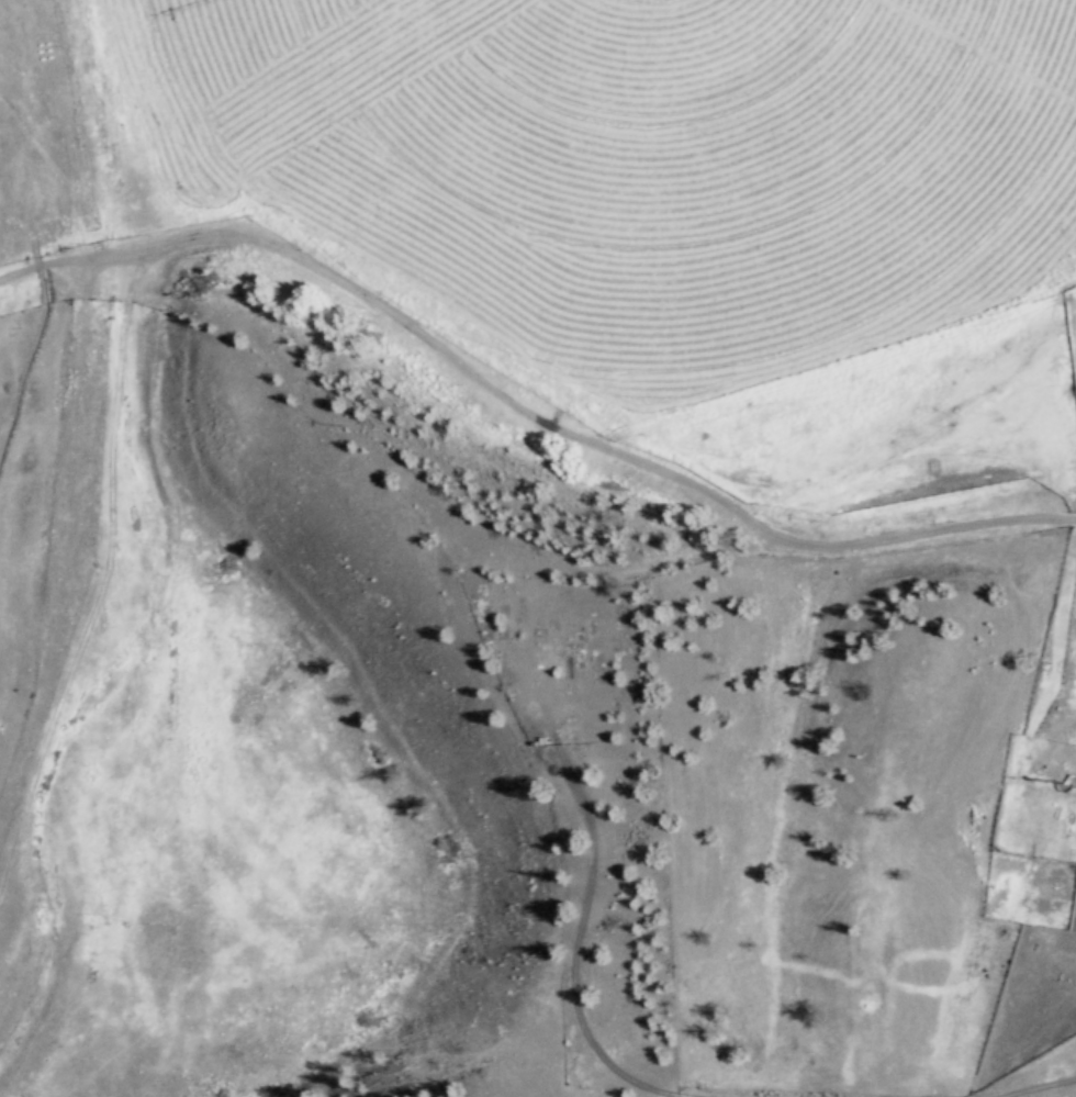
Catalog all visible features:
road: (629, 480)
park: (550, 648)

